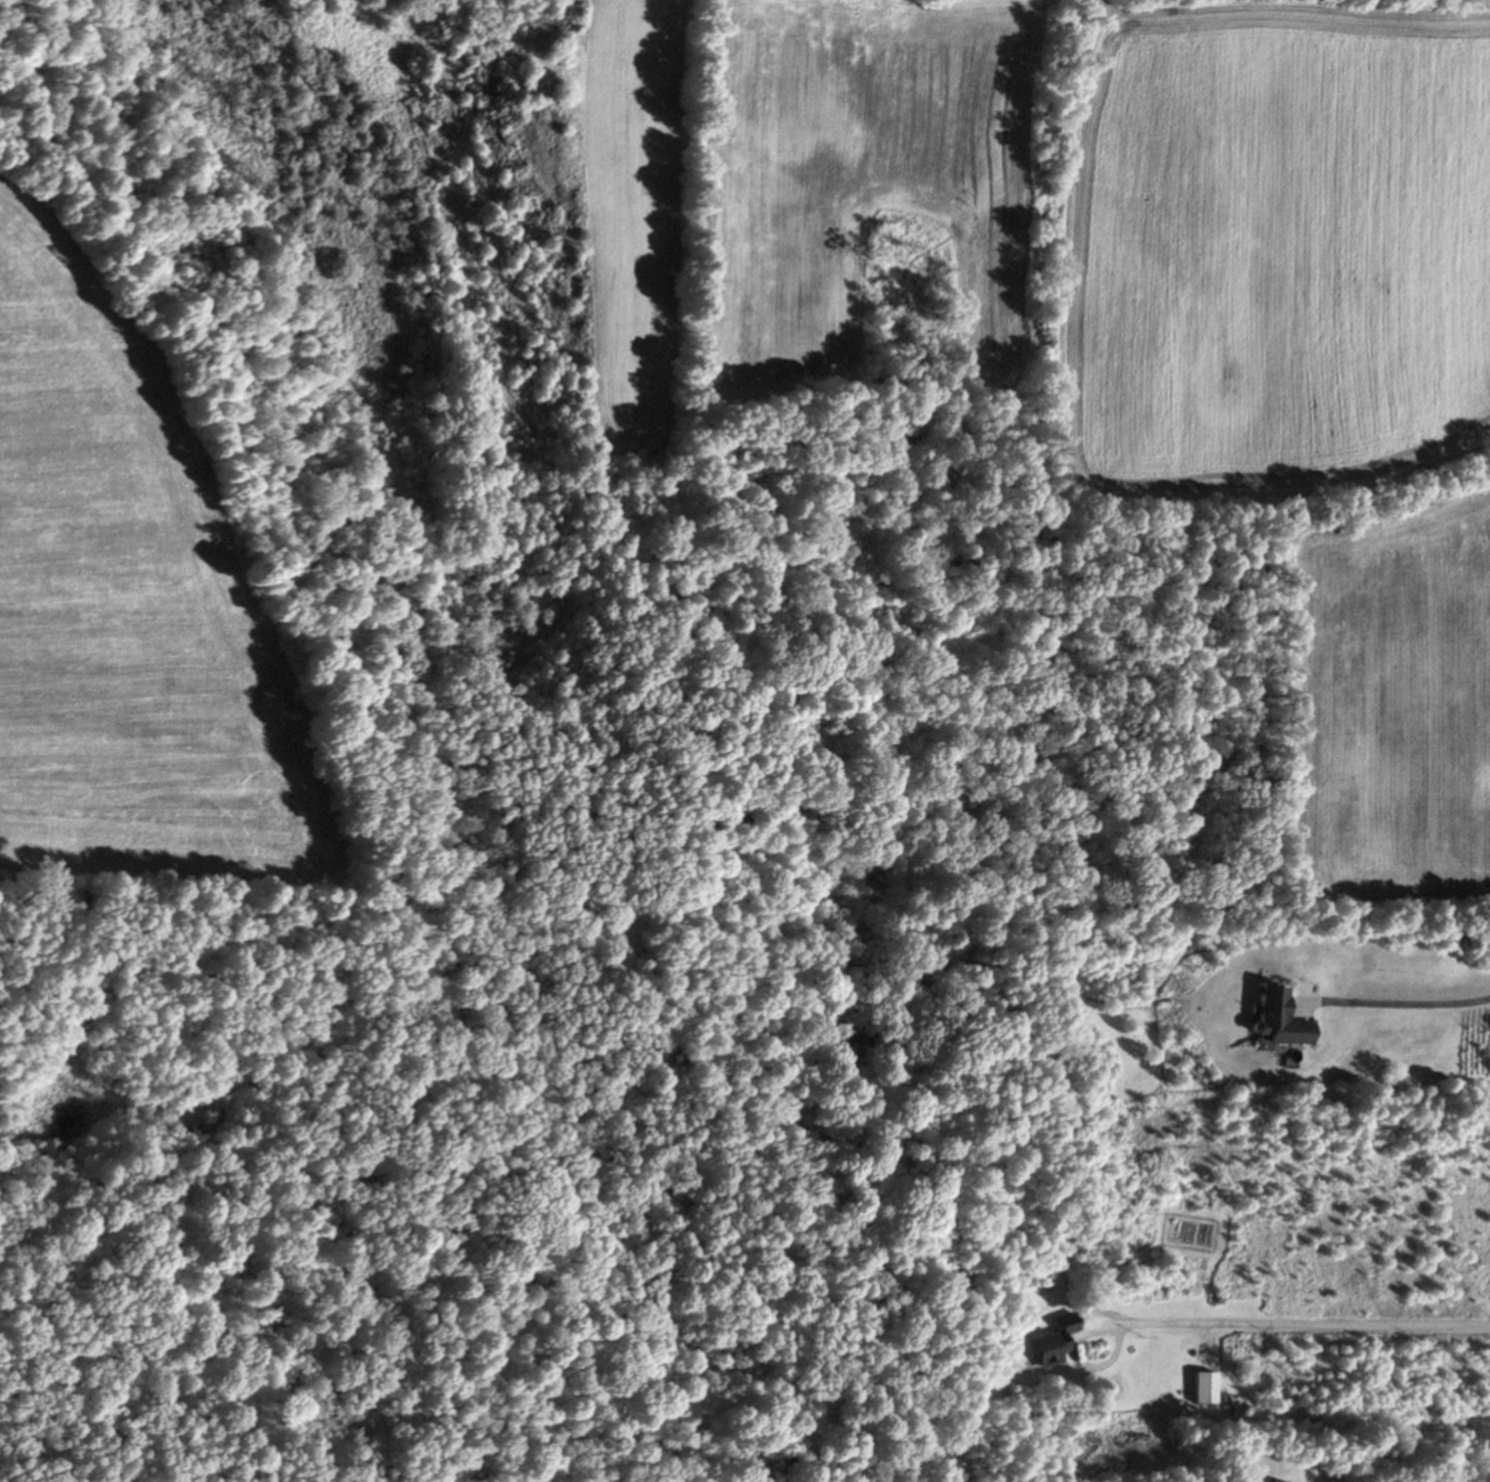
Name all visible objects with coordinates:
road: (1413, 1006)
building: (1275, 1019)
road: (1305, 1324)
building: (1051, 1344)
road: (1083, 1363)
building: (1201, 1389)
building: (1268, 1481)

